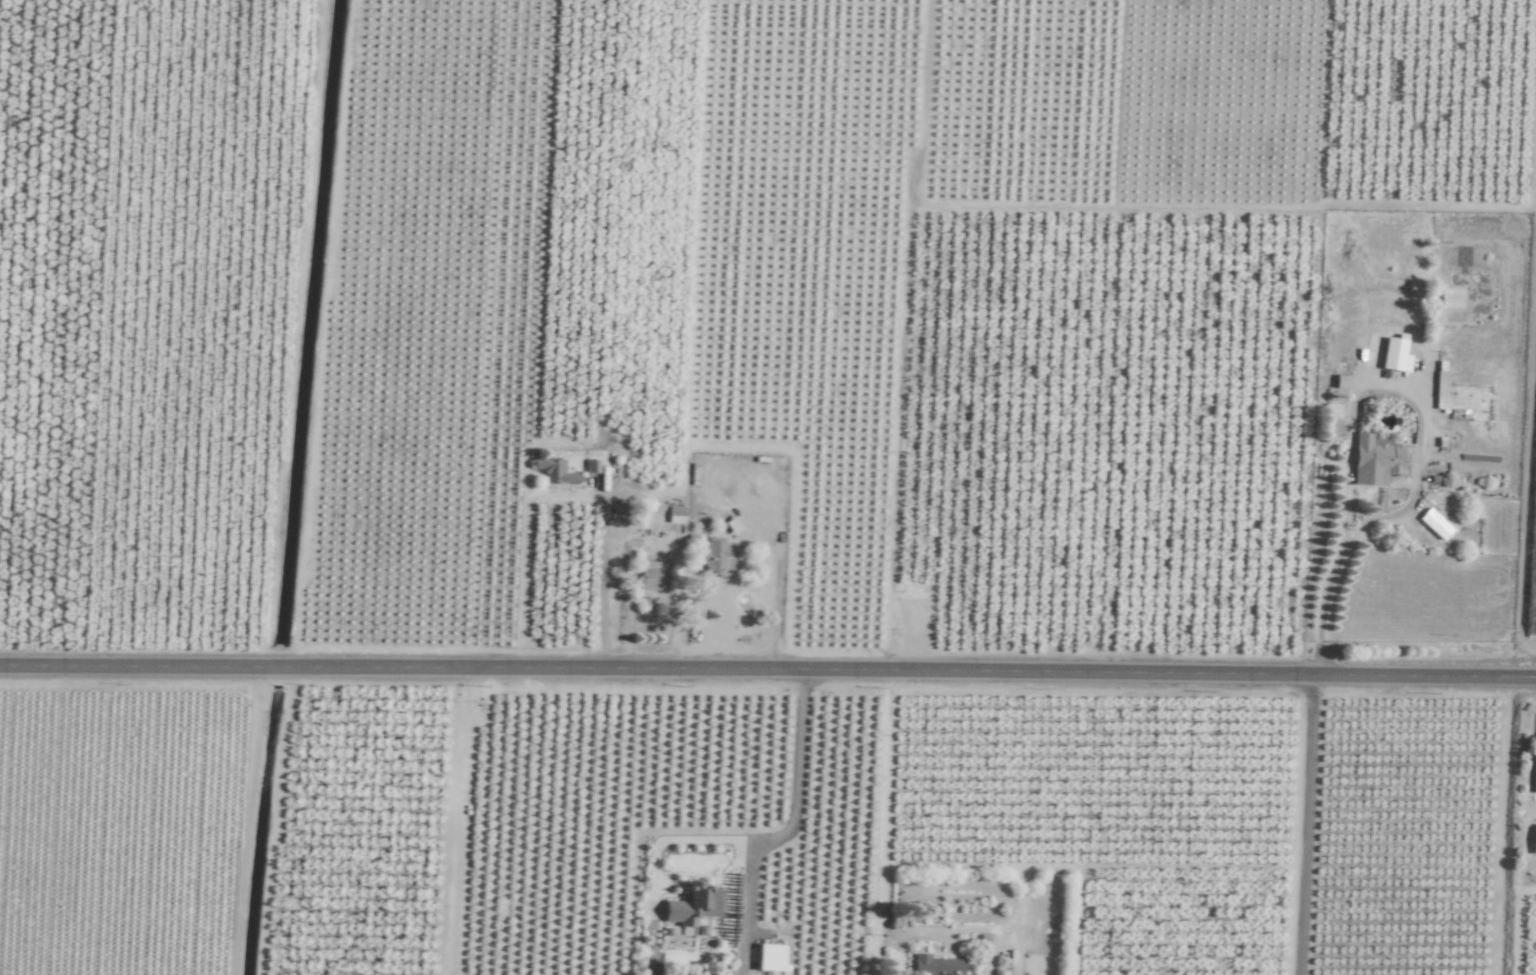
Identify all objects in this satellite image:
road: (1533, 370)
building: (1342, 382)
building: (1387, 457)
building: (554, 471)
road: (1524, 485)
road: (565, 501)
road: (1345, 507)
building: (1435, 524)
road: (761, 548)
building: (650, 575)
road: (768, 670)
building: (1534, 770)
road: (879, 823)
road: (1301, 825)
road: (784, 831)
building: (1534, 841)
road: (979, 865)
building: (693, 905)
road: (969, 930)
building: (937, 966)

